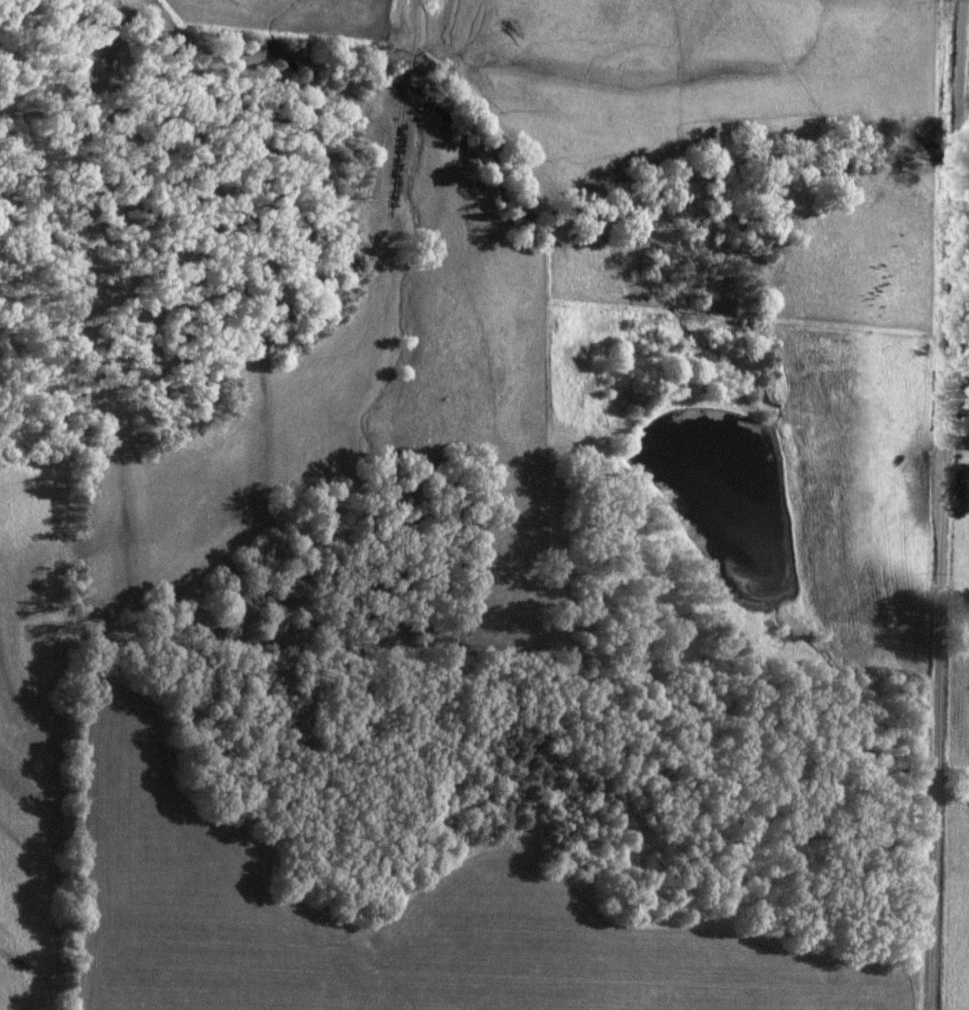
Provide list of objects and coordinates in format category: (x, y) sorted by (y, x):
road: (943, 504)

